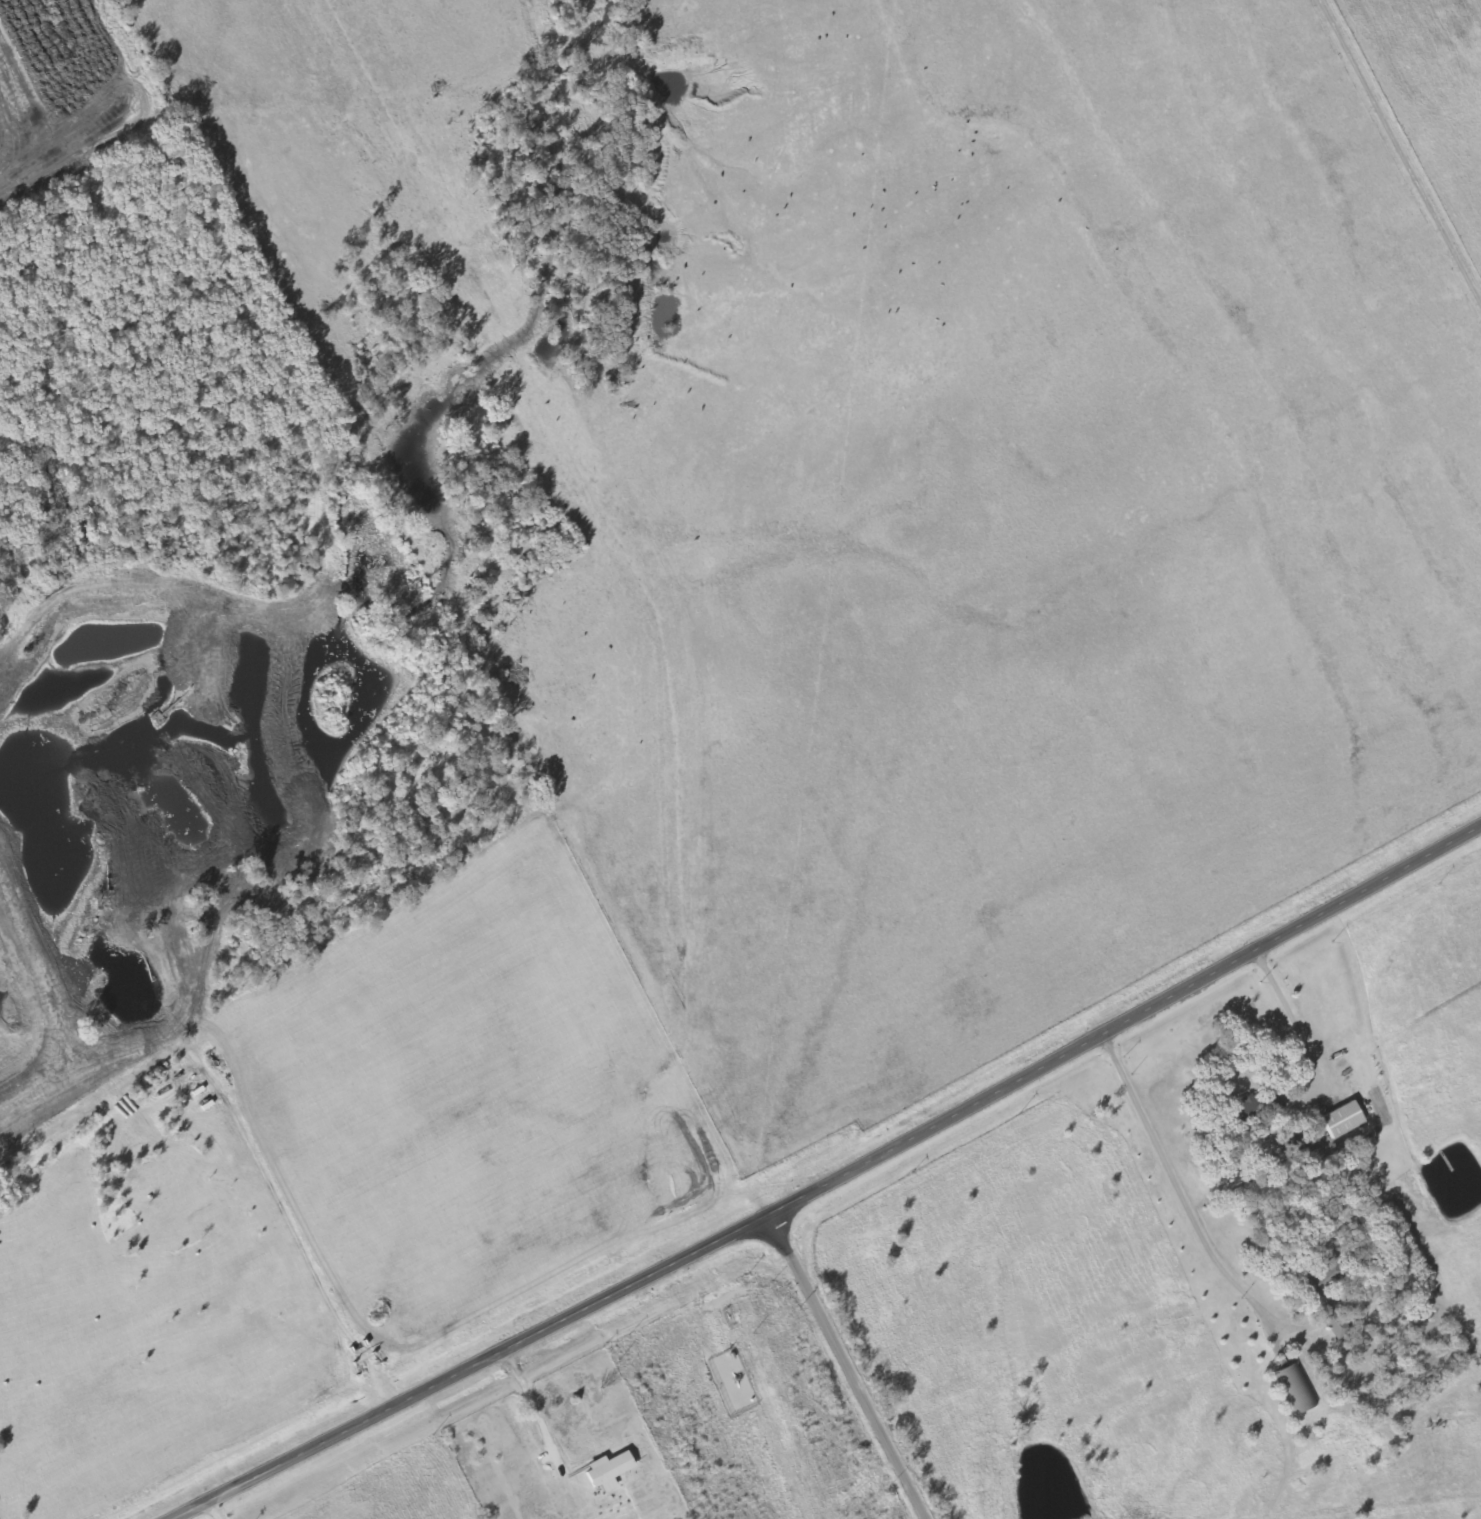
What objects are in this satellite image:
dam: (56, 1086)
building: (1341, 1120)
road: (833, 1186)
building: (1321, 1280)
building: (1333, 1322)
road: (842, 1371)
building: (1296, 1388)
building: (607, 1471)

